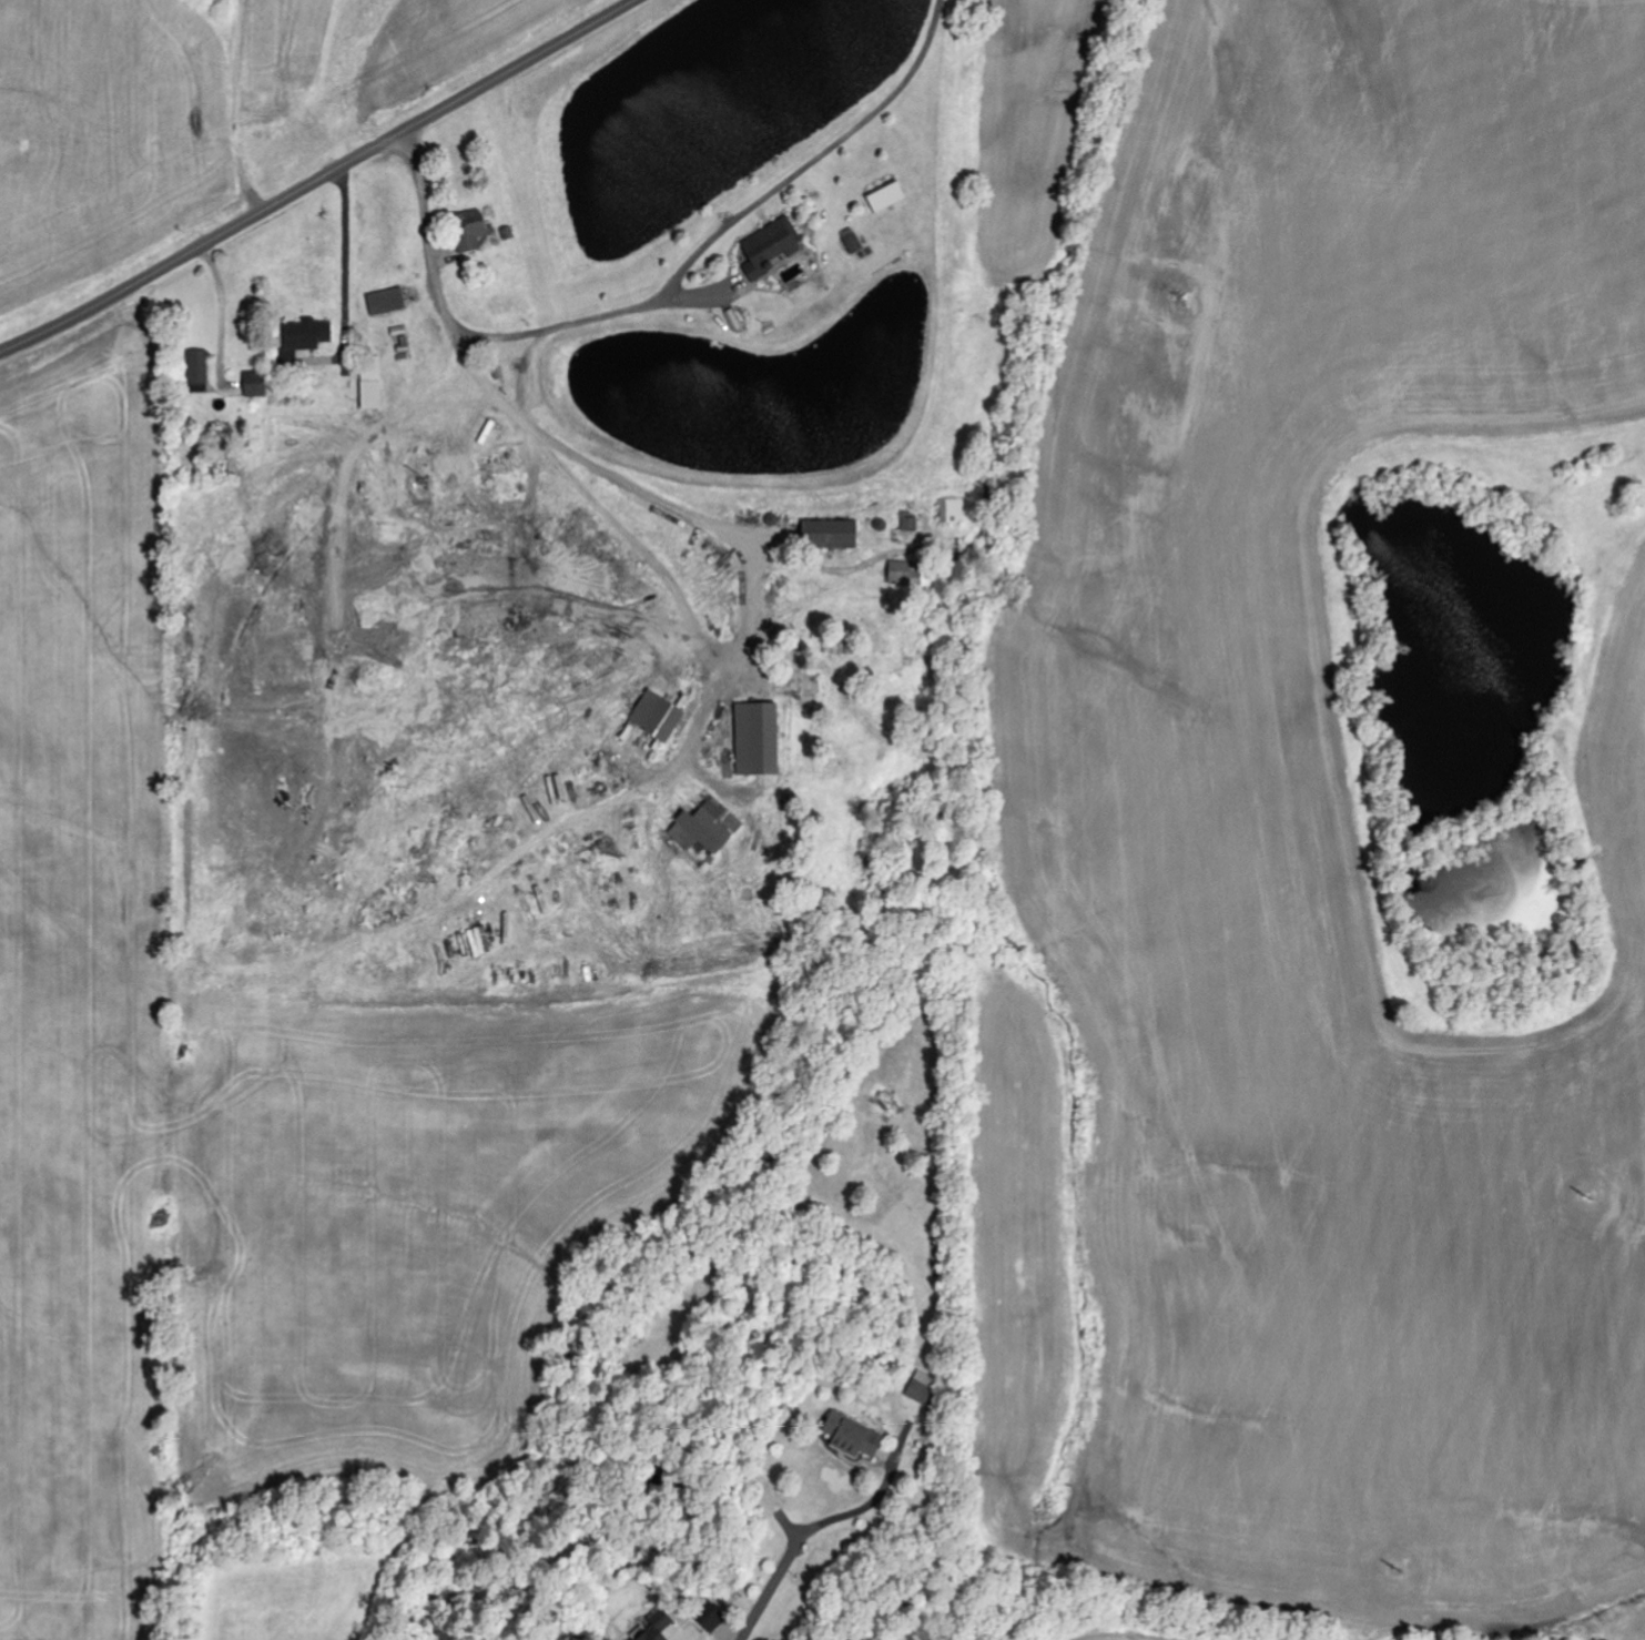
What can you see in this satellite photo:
road: (318, 179)
building: (888, 196)
building: (474, 233)
building: (854, 243)
building: (774, 247)
building: (388, 302)
road: (660, 302)
building: (306, 337)
building: (201, 372)
building: (257, 384)
building: (373, 389)
building: (908, 532)
building: (834, 535)
building: (903, 574)
building: (654, 725)
building: (759, 739)
building: (708, 829)
building: (924, 1388)
building: (856, 1438)
road: (778, 1579)
building: (714, 1620)
building: (658, 1628)

